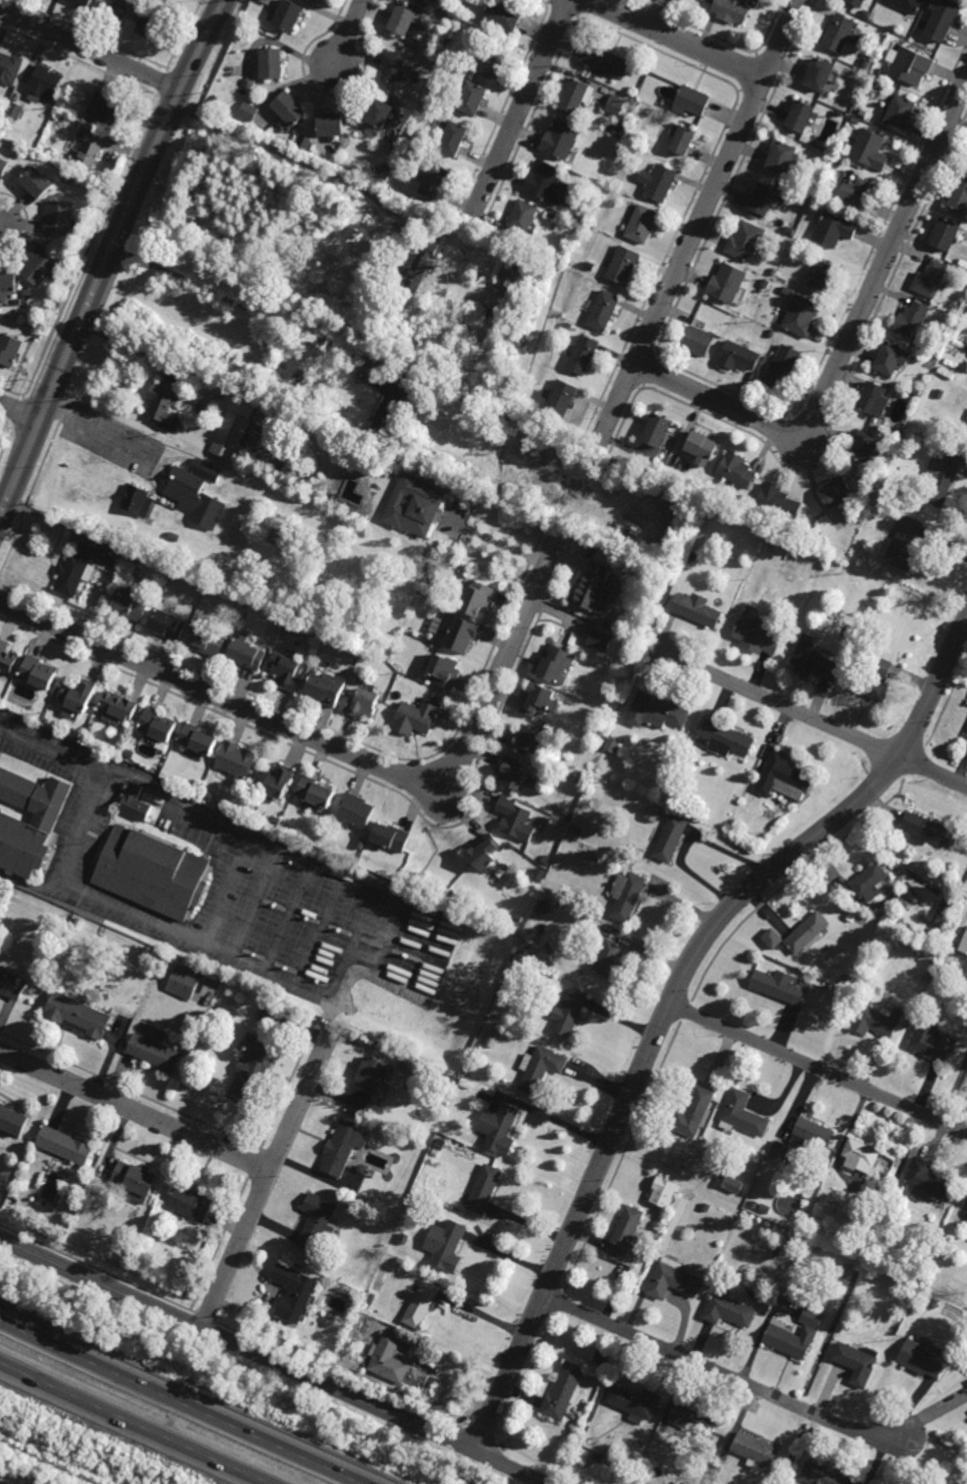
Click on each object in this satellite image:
building: (685, 0)
building: (864, 0)
building: (160, 2)
building: (855, 2)
building: (80, 3)
building: (905, 5)
building: (122, 7)
building: (731, 10)
building: (865, 13)
building: (289, 15)
building: (504, 15)
building: (404, 16)
building: (941, 19)
building: (148, 22)
road: (347, 32)
building: (837, 33)
building: (879, 33)
building: (246, 34)
road: (677, 39)
road: (90, 49)
building: (487, 57)
building: (433, 60)
building: (271, 61)
building: (605, 62)
building: (865, 63)
building: (909, 64)
building: (394, 65)
building: (10, 68)
building: (879, 70)
building: (819, 73)
building: (45, 81)
building: (574, 95)
building: (472, 97)
building: (693, 100)
building: (616, 104)
building: (104, 107)
building: (289, 107)
building: (15, 109)
road: (521, 109)
building: (248, 111)
building: (381, 111)
building: (900, 111)
building: (863, 113)
building: (837, 114)
building: (800, 115)
building: (12, 122)
building: (332, 123)
building: (453, 138)
building: (561, 139)
building: (684, 139)
building: (89, 146)
building: (870, 150)
road: (288, 155)
building: (782, 156)
building: (966, 159)
building: (836, 162)
building: (3, 166)
building: (39, 180)
building: (435, 180)
building: (659, 182)
building: (546, 183)
building: (857, 192)
building: (959, 196)
building: (762, 198)
building: (553, 215)
building: (523, 216)
road: (701, 217)
building: (59, 218)
building: (642, 224)
building: (834, 229)
building: (790, 230)
building: (945, 234)
building: (745, 241)
road: (111, 254)
building: (38, 264)
building: (624, 265)
building: (591, 267)
building: (418, 268)
building: (773, 272)
building: (824, 276)
building: (930, 279)
building: (508, 280)
building: (727, 283)
building: (765, 283)
building: (8, 284)
building: (786, 291)
road: (241, 302)
building: (953, 307)
building: (605, 311)
building: (800, 317)
building: (912, 320)
building: (771, 334)
road: (848, 337)
building: (699, 341)
building: (10, 350)
building: (584, 355)
building: (739, 357)
building: (891, 358)
building: (782, 366)
building: (760, 377)
building: (916, 392)
building: (939, 393)
building: (164, 399)
building: (562, 399)
building: (874, 399)
building: (390, 409)
road: (18, 412)
building: (966, 423)
road: (94, 429)
building: (233, 429)
building: (658, 431)
building: (895, 432)
building: (864, 446)
building: (703, 448)
building: (737, 471)
building: (941, 476)
building: (433, 479)
building: (197, 493)
building: (835, 493)
building: (137, 501)
building: (745, 501)
building: (778, 503)
building: (415, 506)
building: (818, 535)
building: (174, 538)
building: (823, 541)
road: (498, 543)
building: (771, 543)
building: (904, 545)
building: (692, 557)
building: (135, 559)
building: (642, 566)
building: (77, 570)
building: (170, 579)
building: (594, 589)
building: (475, 599)
building: (130, 606)
building: (433, 608)
building: (698, 611)
building: (167, 625)
building: (292, 626)
building: (852, 631)
building: (455, 633)
building: (756, 633)
building: (206, 640)
building: (599, 640)
building: (246, 655)
building: (7, 659)
building: (813, 659)
building: (555, 664)
building: (286, 670)
building: (445, 670)
building: (39, 672)
building: (873, 681)
building: (325, 688)
building: (78, 694)
building: (538, 698)
building: (363, 703)
building: (117, 706)
building: (659, 709)
building: (417, 716)
road: (810, 717)
building: (47, 720)
building: (157, 724)
building: (966, 733)
building: (78, 735)
building: (724, 737)
building: (526, 738)
building: (198, 739)
building: (124, 742)
building: (613, 743)
road: (341, 750)
building: (116, 753)
building: (128, 754)
building: (236, 761)
building: (685, 768)
building: (511, 772)
building: (782, 775)
building: (274, 783)
building: (316, 792)
building: (210, 795)
building: (136, 802)
building: (355, 811)
building: (567, 814)
building: (653, 814)
building: (49, 817)
building: (516, 820)
building: (277, 821)
building: (737, 824)
road: (77, 826)
building: (928, 829)
building: (578, 830)
building: (392, 836)
building: (672, 837)
building: (484, 851)
building: (546, 862)
building: (153, 872)
building: (540, 874)
building: (869, 881)
road: (224, 889)
building: (406, 892)
building: (627, 895)
building: (544, 907)
building: (945, 907)
road: (363, 916)
building: (852, 916)
building: (517, 917)
building: (806, 931)
building: (771, 937)
building: (964, 943)
building: (610, 957)
building: (524, 964)
building: (933, 965)
building: (941, 973)
building: (159, 974)
building: (184, 981)
building: (848, 981)
building: (12, 984)
building: (778, 986)
building: (842, 995)
road: (672, 999)
building: (217, 1010)
building: (570, 1011)
building: (78, 1015)
building: (269, 1015)
building: (874, 1020)
building: (930, 1041)
building: (156, 1050)
building: (407, 1065)
building: (541, 1068)
road: (818, 1069)
building: (468, 1070)
building: (253, 1073)
building: (371, 1075)
building: (466, 1083)
road: (135, 1111)
building: (695, 1113)
building: (743, 1115)
building: (13, 1121)
building: (500, 1129)
building: (811, 1133)
building: (65, 1145)
building: (440, 1145)
building: (343, 1148)
building: (779, 1151)
building: (860, 1155)
road: (266, 1179)
building: (136, 1180)
building: (730, 1181)
building: (927, 1181)
building: (75, 1188)
building: (485, 1190)
building: (665, 1192)
building: (90, 1194)
building: (365, 1202)
building: (192, 1204)
building: (754, 1204)
building: (706, 1207)
building: (764, 1207)
building: (350, 1208)
building: (316, 1222)
building: (893, 1229)
building: (627, 1237)
building: (405, 1239)
building: (446, 1245)
building: (778, 1250)
building: (673, 1280)
building: (899, 1284)
building: (294, 1292)
building: (896, 1292)
building: (371, 1298)
building: (421, 1302)
building: (934, 1303)
building: (728, 1310)
building: (779, 1332)
building: (924, 1357)
building: (389, 1358)
building: (856, 1361)
road: (273, 1362)
road: (723, 1374)
building: (564, 1392)
building: (635, 1401)
road: (183, 1402)
building: (695, 1419)
road: (136, 1423)
building: (578, 1424)
building: (755, 1449)
building: (600, 1457)
park: (43, 1465)
power tower: (92, 1467)
building: (823, 1474)
building: (714, 1478)
road: (0, 1483)

